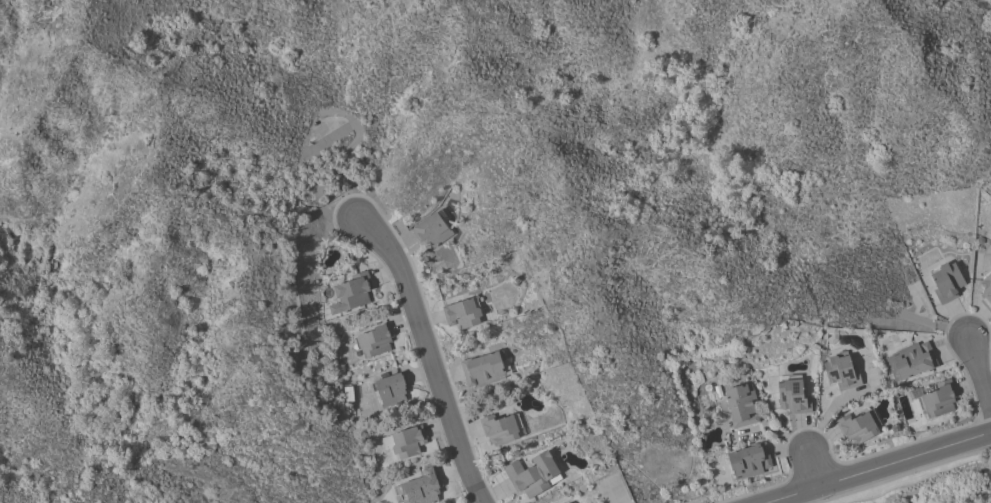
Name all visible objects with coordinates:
building: (431, 230)
building: (945, 281)
building: (986, 287)
building: (355, 290)
building: (462, 313)
building: (375, 340)
road: (426, 356)
building: (910, 361)
building: (482, 369)
building: (841, 371)
road: (978, 375)
building: (392, 388)
building: (793, 395)
building: (939, 399)
building: (741, 405)
building: (856, 427)
building: (499, 429)
building: (407, 441)
building: (749, 460)
road: (878, 467)
road: (811, 469)
building: (531, 474)
building: (422, 488)

